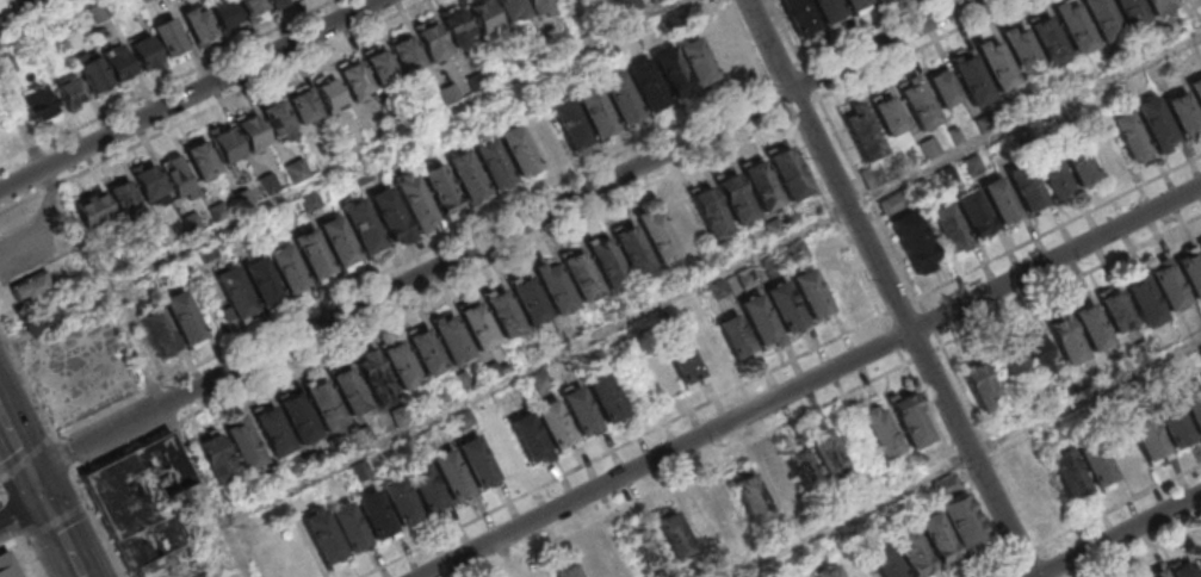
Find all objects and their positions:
building: (144, 0)
building: (557, 0)
building: (880, 1)
building: (280, 2)
building: (856, 4)
building: (540, 6)
building: (1159, 6)
building: (254, 7)
building: (512, 7)
building: (829, 8)
building: (224, 12)
building: (1131, 12)
building: (800, 14)
building: (484, 15)
building: (1102, 18)
road: (43, 21)
building: (199, 23)
building: (458, 26)
building: (1073, 26)
road: (865, 31)
road: (790, 35)
building: (171, 36)
building: (1048, 39)
building: (433, 41)
road: (748, 43)
building: (724, 46)
road: (914, 49)
building: (144, 50)
building: (1021, 51)
building: (407, 52)
building: (118, 61)
building: (699, 63)
road: (800, 63)
building: (996, 64)
building: (382, 68)
road: (786, 72)
building: (673, 73)
building: (354, 79)
road: (811, 79)
building: (972, 79)
building: (648, 85)
building: (946, 87)
building: (1195, 89)
building: (70, 91)
road: (818, 93)
road: (191, 94)
building: (330, 95)
road: (774, 95)
building: (621, 97)
building: (39, 101)
building: (921, 101)
building: (304, 107)
road: (803, 107)
building: (598, 111)
building: (1181, 112)
building: (891, 114)
building: (278, 118)
building: (1153, 122)
building: (570, 123)
building: (252, 131)
building: (861, 131)
building: (1128, 135)
road: (395, 142)
building: (225, 143)
building: (931, 148)
building: (519, 150)
building: (202, 160)
building: (389, 161)
building: (1076, 161)
building: (493, 163)
building: (974, 165)
building: (791, 173)
building: (468, 175)
building: (1052, 175)
building: (874, 176)
building: (149, 182)
building: (763, 186)
building: (1026, 187)
building: (441, 188)
building: (923, 190)
road: (871, 197)
building: (737, 199)
building: (414, 200)
building: (897, 201)
building: (999, 201)
building: (711, 212)
building: (390, 213)
building: (974, 215)
building: (363, 224)
building: (682, 224)
road: (1060, 227)
building: (948, 228)
building: (775, 229)
road: (843, 234)
road: (499, 235)
building: (657, 235)
building: (911, 236)
road: (81, 240)
building: (339, 242)
building: (1200, 247)
building: (633, 249)
building: (800, 250)
building: (723, 254)
building: (314, 255)
road: (413, 256)
building: (608, 262)
road: (485, 266)
building: (775, 267)
building: (287, 268)
building: (1190, 269)
building: (582, 275)
road: (712, 279)
building: (262, 281)
road: (1072, 281)
building: (1169, 285)
building: (30, 286)
building: (556, 288)
road: (892, 288)
building: (720, 290)
building: (235, 292)
building: (812, 293)
building: (530, 300)
building: (1144, 303)
building: (786, 305)
building: (1116, 311)
building: (503, 314)
building: (670, 317)
building: (38, 319)
building: (181, 319)
building: (762, 322)
building: (478, 325)
building: (1091, 328)
building: (157, 334)
building: (737, 336)
building: (452, 340)
building: (1066, 341)
building: (426, 353)
road: (925, 355)
building: (683, 359)
building: (1026, 359)
building: (400, 365)
building: (491, 371)
building: (374, 378)
road: (26, 380)
road: (806, 380)
building: (541, 381)
building: (980, 384)
building: (348, 391)
building: (439, 397)
building: (606, 398)
building: (323, 405)
building: (1193, 405)
building: (581, 411)
building: (400, 416)
building: (298, 417)
building: (910, 418)
building: (465, 420)
road: (173, 422)
building: (1172, 422)
building: (556, 426)
building: (272, 432)
building: (883, 433)
road: (55, 436)
building: (1146, 436)
road: (637, 438)
building: (531, 439)
building: (244, 445)
road: (17, 448)
road: (119, 448)
building: (1015, 449)
road: (66, 451)
road: (26, 455)
building: (828, 455)
road: (965, 459)
building: (217, 460)
building: (477, 461)
building: (1095, 461)
building: (804, 470)
road: (960, 470)
building: (361, 471)
road: (693, 471)
building: (1067, 472)
building: (451, 476)
traffic signals: (35, 483)
building: (947, 483)
building: (779, 485)
building: (1032, 486)
building: (426, 488)
road: (206, 490)
road: (0, 492)
road: (2, 495)
building: (754, 500)
road: (85, 501)
building: (400, 501)
road: (1021, 501)
road: (19, 505)
building: (724, 508)
building: (146, 510)
building: (374, 515)
road: (12, 516)
road: (56, 520)
road: (97, 521)
building: (965, 525)
building: (348, 527)
road: (57, 529)
building: (674, 534)
building: (322, 536)
road: (1120, 536)
road: (25, 538)
building: (937, 539)
road: (11, 544)
building: (648, 548)
building: (912, 551)
road: (1149, 551)
road: (1028, 553)
road: (30, 554)
building: (1197, 559)
building: (886, 562)
building: (593, 565)
building: (7, 566)
building: (567, 571)
building: (1182, 571)
building: (829, 572)
building: (545, 576)
building: (1160, 576)

